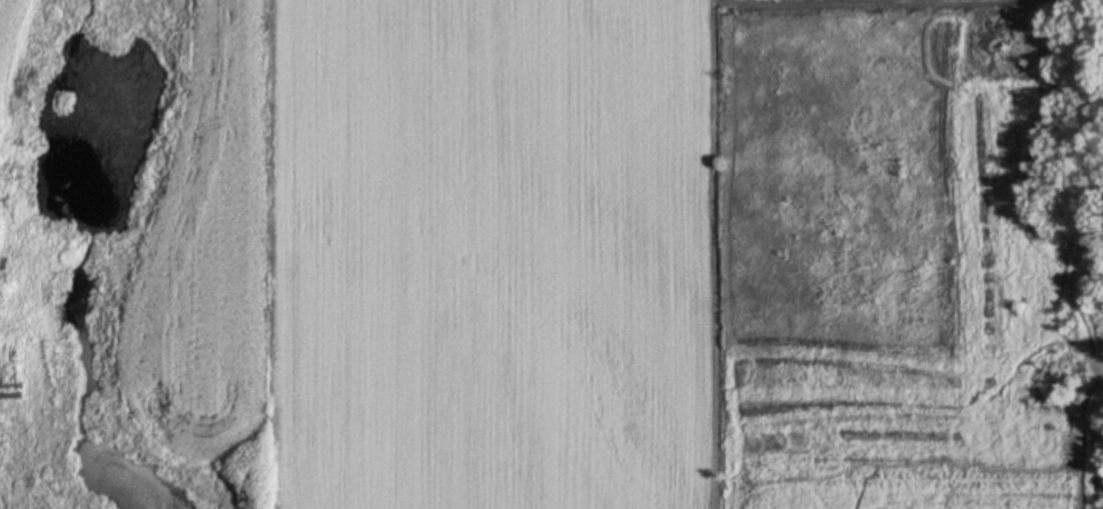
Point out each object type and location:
crop: (489, 253)

